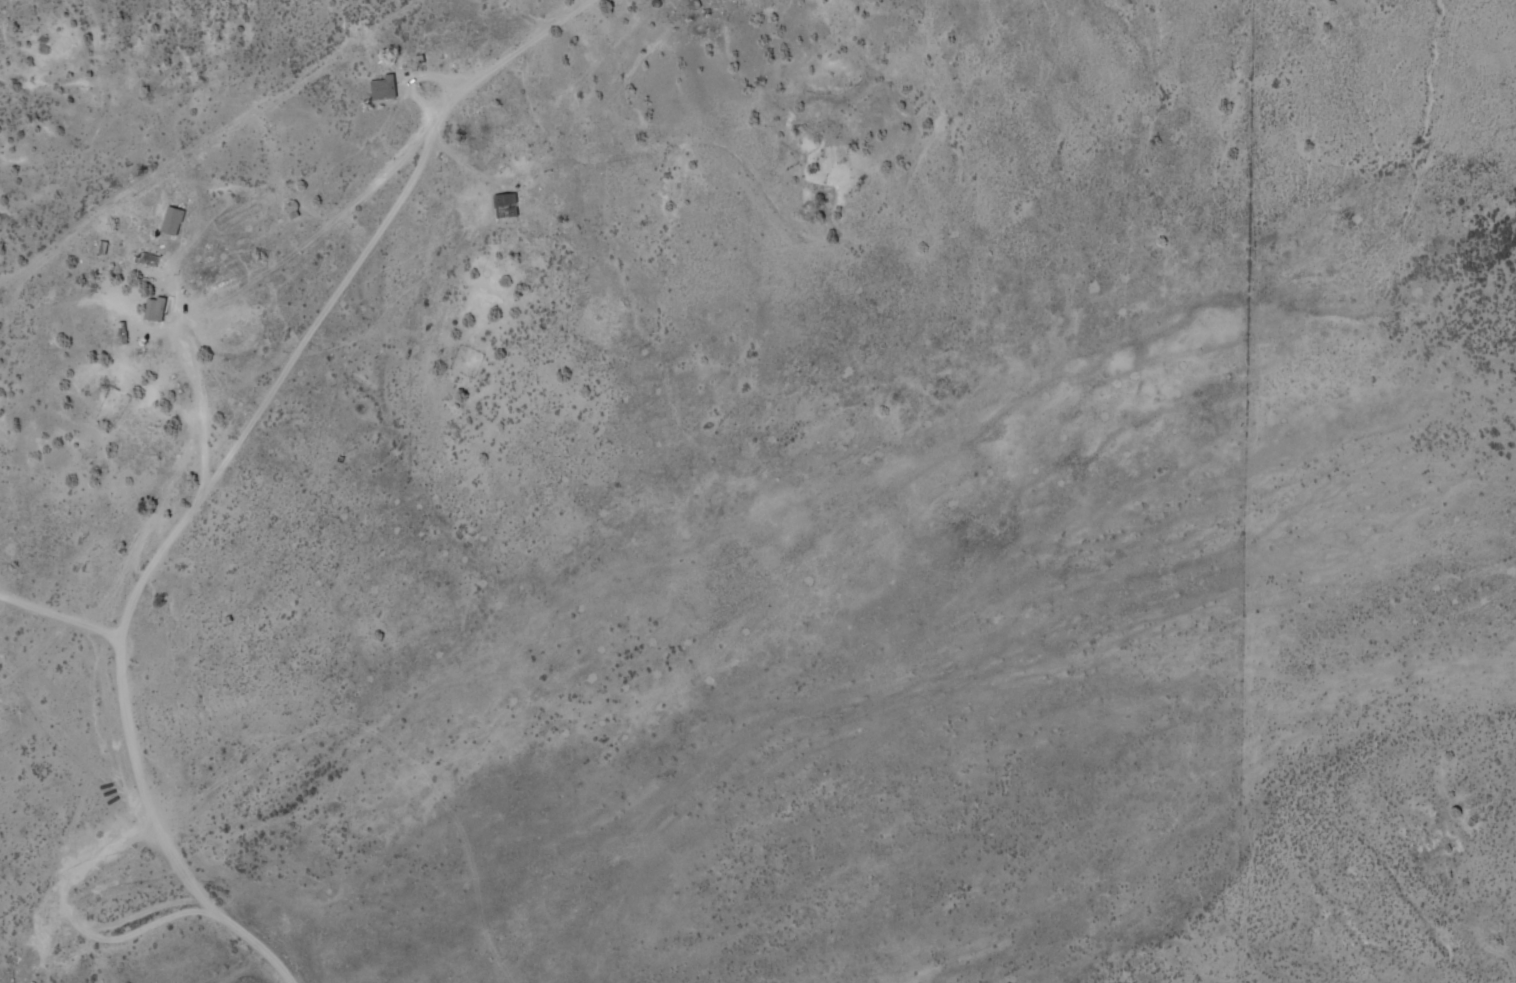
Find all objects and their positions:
building: (381, 89)
building: (511, 203)
building: (172, 221)
road: (228, 455)

